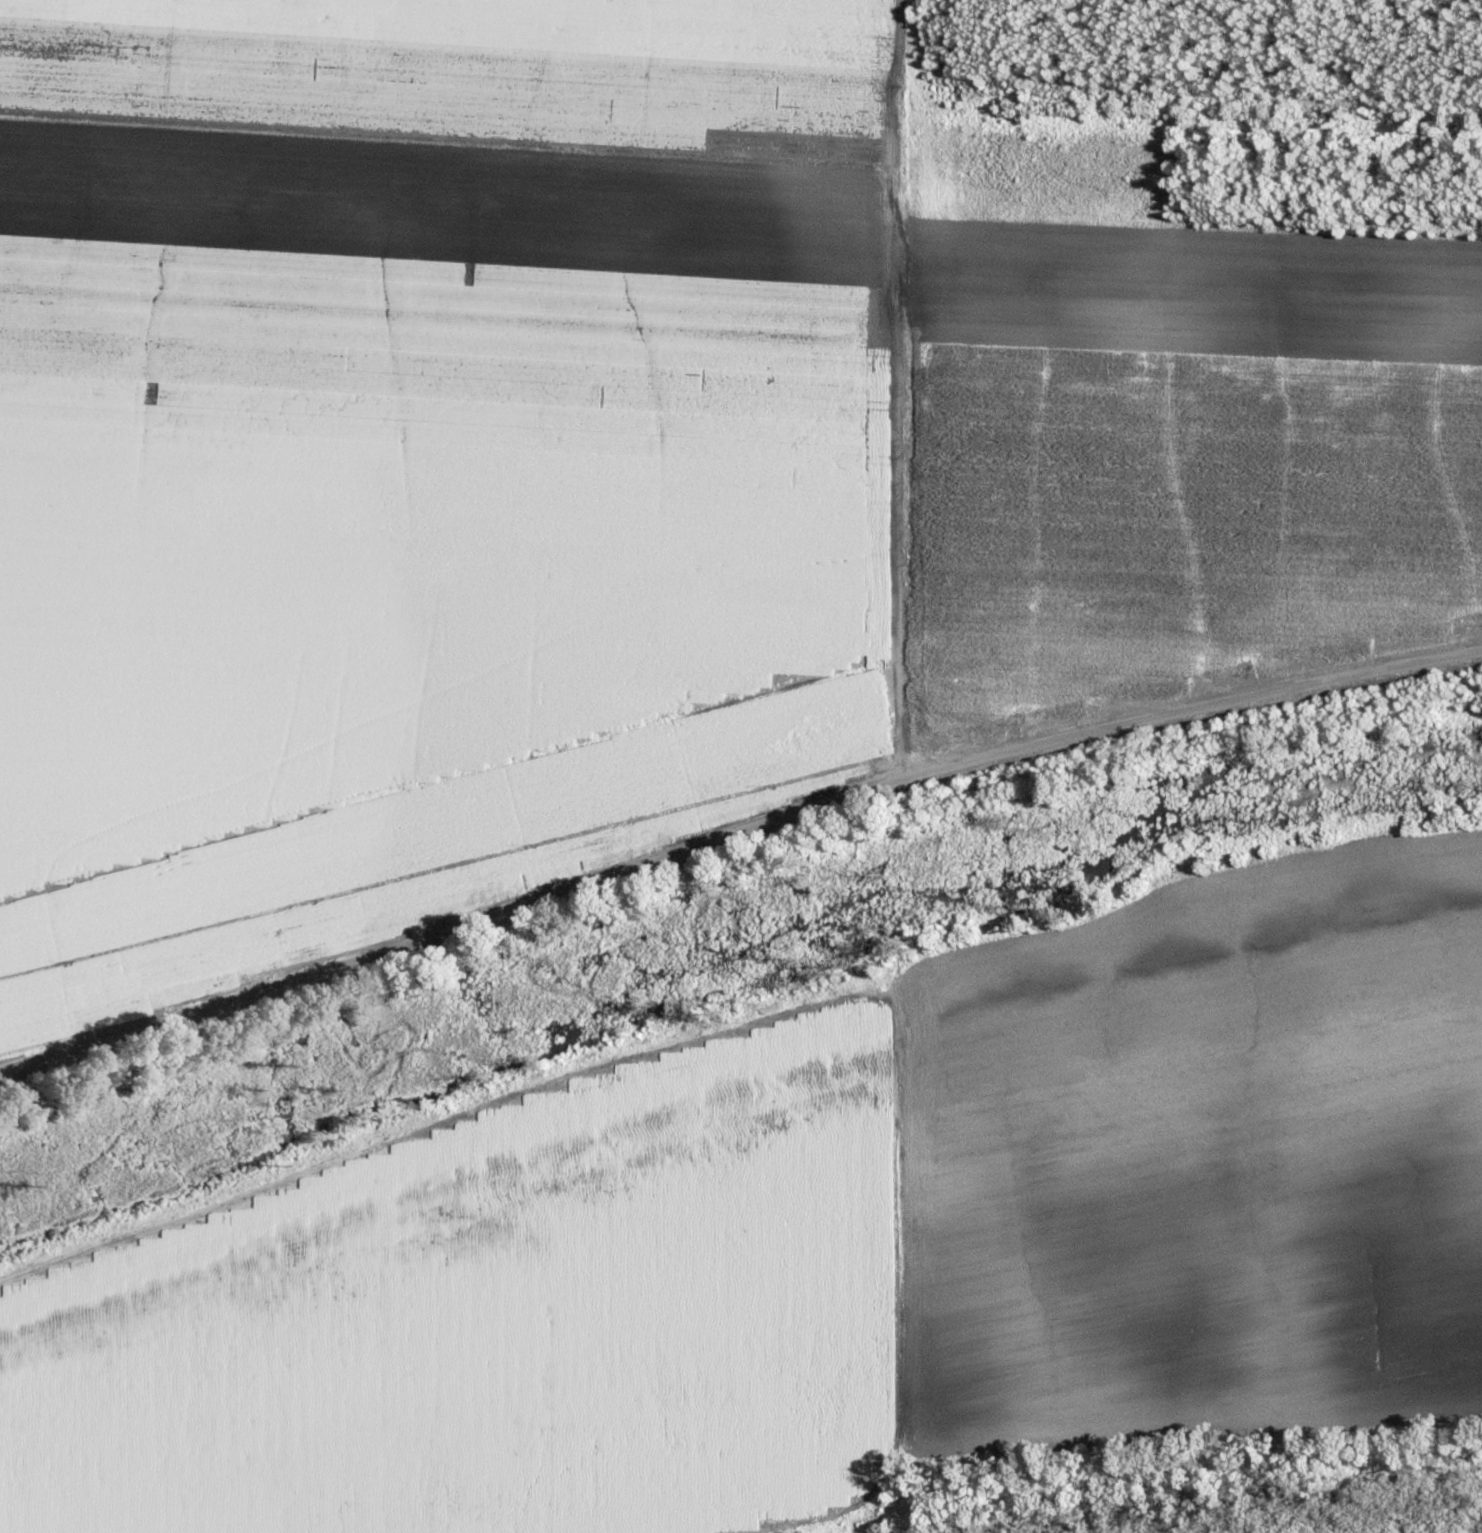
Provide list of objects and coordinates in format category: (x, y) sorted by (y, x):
road: (899, 390)
road: (732, 833)

